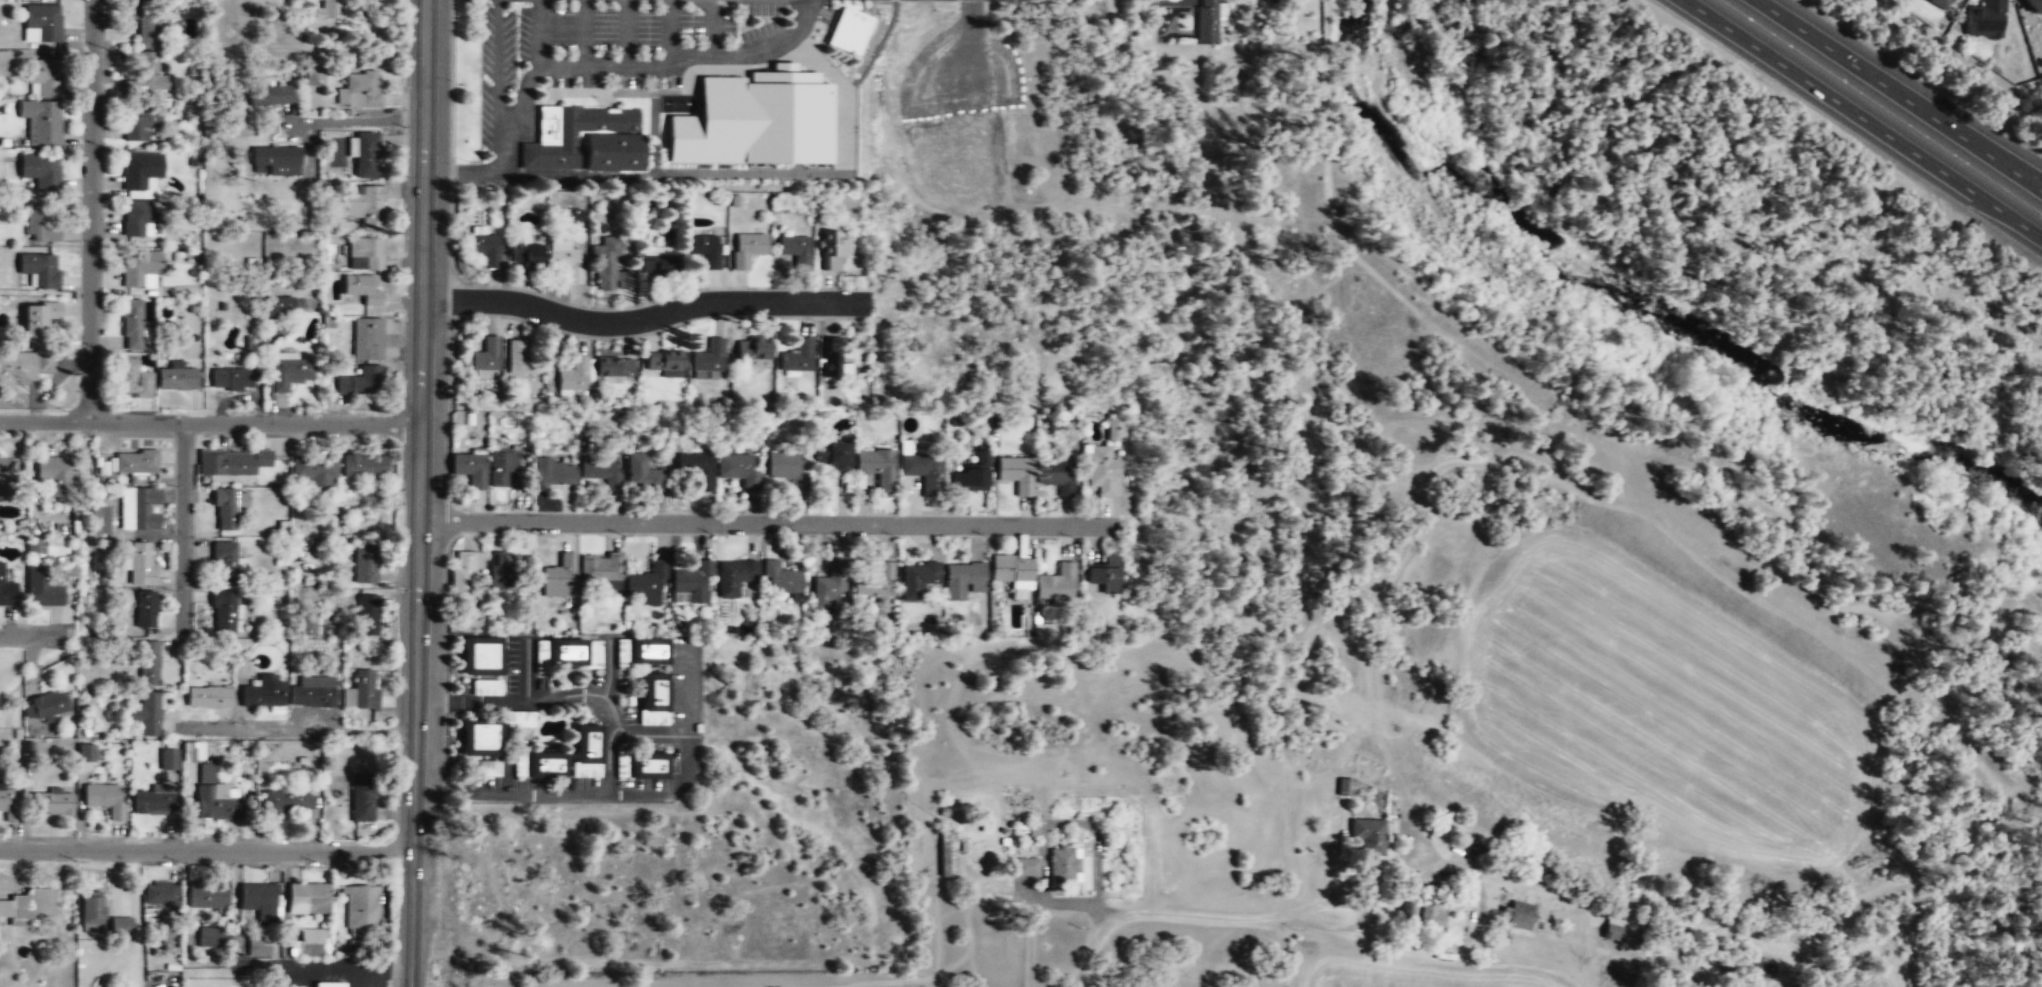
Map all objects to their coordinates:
building: (1939, 3)
building: (2033, 6)
building: (332, 10)
building: (1984, 17)
building: (1206, 21)
building: (44, 22)
building: (145, 22)
road: (713, 26)
road: (671, 29)
road: (584, 32)
building: (849, 32)
road: (755, 48)
building: (6, 63)
road: (535, 64)
road: (605, 65)
building: (153, 72)
building: (314, 78)
building: (44, 79)
street lamp: (451, 80)
building: (130, 87)
building: (359, 91)
road: (1899, 94)
building: (271, 96)
road: (354, 119)
road: (1862, 119)
building: (756, 120)
building: (42, 121)
building: (141, 121)
building: (584, 140)
street lamp: (103, 147)
building: (365, 154)
building: (272, 160)
building: (142, 170)
building: (40, 172)
building: (365, 208)
road: (91, 211)
building: (140, 216)
building: (41, 226)
building: (484, 246)
building: (705, 250)
building: (747, 250)
building: (795, 250)
building: (831, 250)
building: (364, 254)
building: (526, 254)
building: (565, 260)
building: (659, 262)
building: (140, 265)
building: (41, 268)
building: (610, 269)
building: (363, 289)
river: (1644, 304)
building: (281, 306)
building: (40, 316)
road: (640, 317)
street lamp: (814, 320)
building: (133, 322)
building: (368, 338)
building: (753, 348)
building: (485, 356)
building: (833, 357)
building: (797, 358)
building: (518, 359)
building: (707, 361)
building: (665, 362)
building: (23, 366)
building: (613, 366)
building: (289, 373)
building: (575, 375)
building: (134, 377)
building: (176, 377)
building: (232, 379)
building: (360, 382)
street lamp: (67, 408)
street lamp: (265, 410)
road: (209, 424)
building: (1115, 430)
building: (831, 455)
building: (135, 461)
building: (223, 462)
building: (363, 465)
building: (784, 466)
building: (313, 467)
building: (503, 467)
building: (598, 469)
building: (736, 469)
building: (470, 470)
building: (694, 470)
building: (877, 470)
building: (1102, 471)
building: (923, 473)
building: (55, 474)
building: (555, 474)
building: (971, 474)
building: (644, 475)
building: (1015, 475)
building: (1057, 477)
building: (520, 481)
building: (2, 483)
road: (419, 493)
building: (223, 507)
building: (138, 508)
building: (99, 519)
road: (767, 523)
road: (182, 526)
street lamp: (403, 532)
street lamp: (715, 535)
street lamp: (488, 536)
street lamp: (989, 537)
building: (32, 546)
building: (363, 562)
building: (222, 563)
building: (139, 564)
building: (501, 570)
building: (1011, 570)
building: (601, 571)
building: (464, 572)
building: (1103, 575)
building: (733, 577)
building: (963, 578)
building: (558, 579)
building: (918, 579)
building: (874, 581)
building: (784, 582)
building: (1056, 584)
building: (645, 585)
building: (691, 585)
building: (41, 588)
building: (829, 588)
building: (6, 590)
building: (143, 608)
building: (222, 609)
building: (365, 615)
building: (307, 620)
building: (1044, 630)
road: (26, 634)
building: (642, 652)
building: (567, 654)
building: (481, 656)
building: (146, 661)
building: (488, 687)
building: (363, 690)
building: (312, 691)
building: (262, 692)
building: (207, 697)
road: (555, 697)
building: (654, 699)
building: (44, 706)
building: (144, 713)
building: (523, 719)
road: (299, 730)
building: (480, 737)
building: (587, 750)
building: (85, 752)
building: (189, 752)
building: (167, 758)
building: (539, 764)
building: (641, 764)
building: (487, 768)
building: (204, 773)
building: (1346, 786)
road: (605, 791)
building: (361, 796)
building: (103, 799)
building: (149, 800)
building: (284, 800)
building: (50, 802)
building: (7, 804)
building: (214, 804)
building: (1367, 836)
road: (205, 850)
building: (947, 854)
building: (1063, 863)
building: (1025, 866)
street lamp: (397, 884)
building: (205, 893)
building: (160, 894)
building: (255, 896)
building: (306, 897)
road: (1070, 904)
building: (28, 907)
building: (89, 907)
building: (358, 908)
building: (1407, 908)
road: (137, 912)
building: (1515, 914)
building: (1431, 916)
road: (1101, 917)
road: (1279, 917)
building: (119, 924)
building: (166, 928)
building: (1620, 930)
building: (211, 936)
building: (310, 942)
building: (257, 946)
road: (324, 968)
building: (328, 984)
building: (294, 986)

